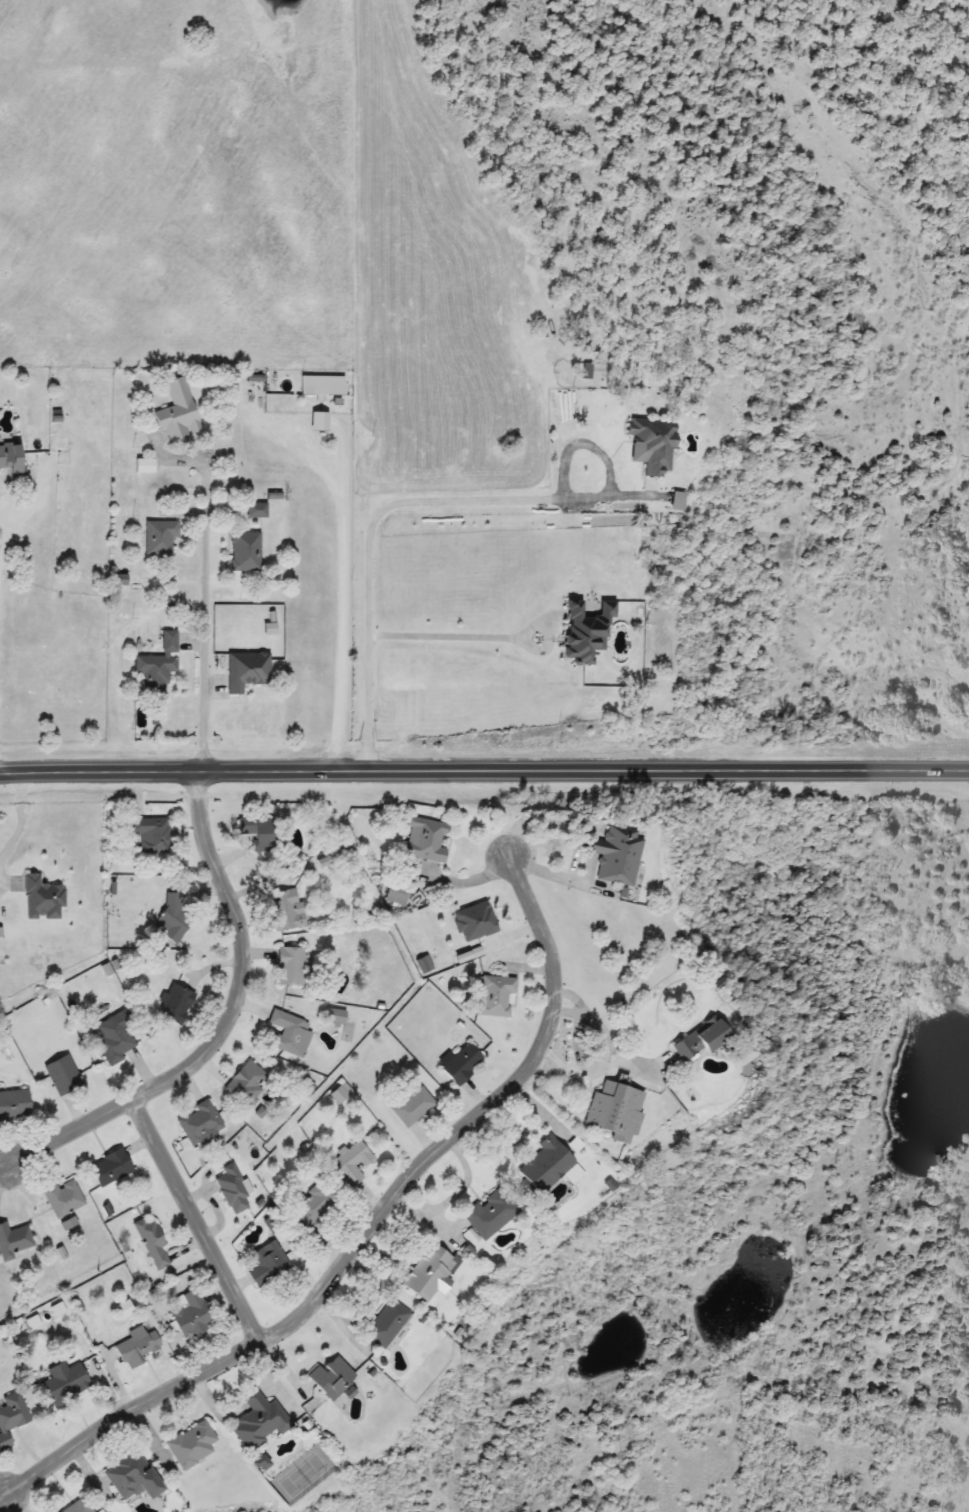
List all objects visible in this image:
building: (319, 386)
building: (176, 411)
road: (310, 420)
building: (649, 445)
building: (10, 461)
building: (674, 501)
road: (434, 503)
building: (255, 511)
road: (24, 512)
building: (158, 538)
building: (244, 553)
road: (206, 616)
road: (341, 629)
road: (486, 632)
building: (582, 632)
building: (156, 666)
road: (484, 769)
building: (256, 831)
building: (150, 834)
building: (422, 839)
building: (613, 854)
building: (394, 895)
building: (284, 910)
building: (170, 914)
building: (289, 966)
building: (493, 996)
building: (173, 1003)
building: (332, 1019)
road: (225, 1022)
building: (288, 1034)
building: (115, 1037)
road: (609, 1038)
building: (695, 1039)
building: (460, 1064)
building: (61, 1075)
building: (246, 1084)
building: (337, 1094)
building: (13, 1105)
building: (411, 1107)
building: (612, 1111)
building: (198, 1123)
building: (350, 1162)
building: (541, 1166)
building: (108, 1168)
building: (231, 1190)
building: (62, 1197)
building: (310, 1207)
building: (490, 1212)
road: (194, 1213)
road: (363, 1226)
building: (13, 1240)
building: (150, 1243)
building: (266, 1263)
building: (428, 1273)
building: (189, 1314)
building: (385, 1323)
building: (136, 1346)
building: (330, 1377)
building: (63, 1380)
building: (11, 1416)
building: (256, 1420)
building: (190, 1445)
building: (129, 1477)
road: (4, 1504)
building: (76, 1507)

